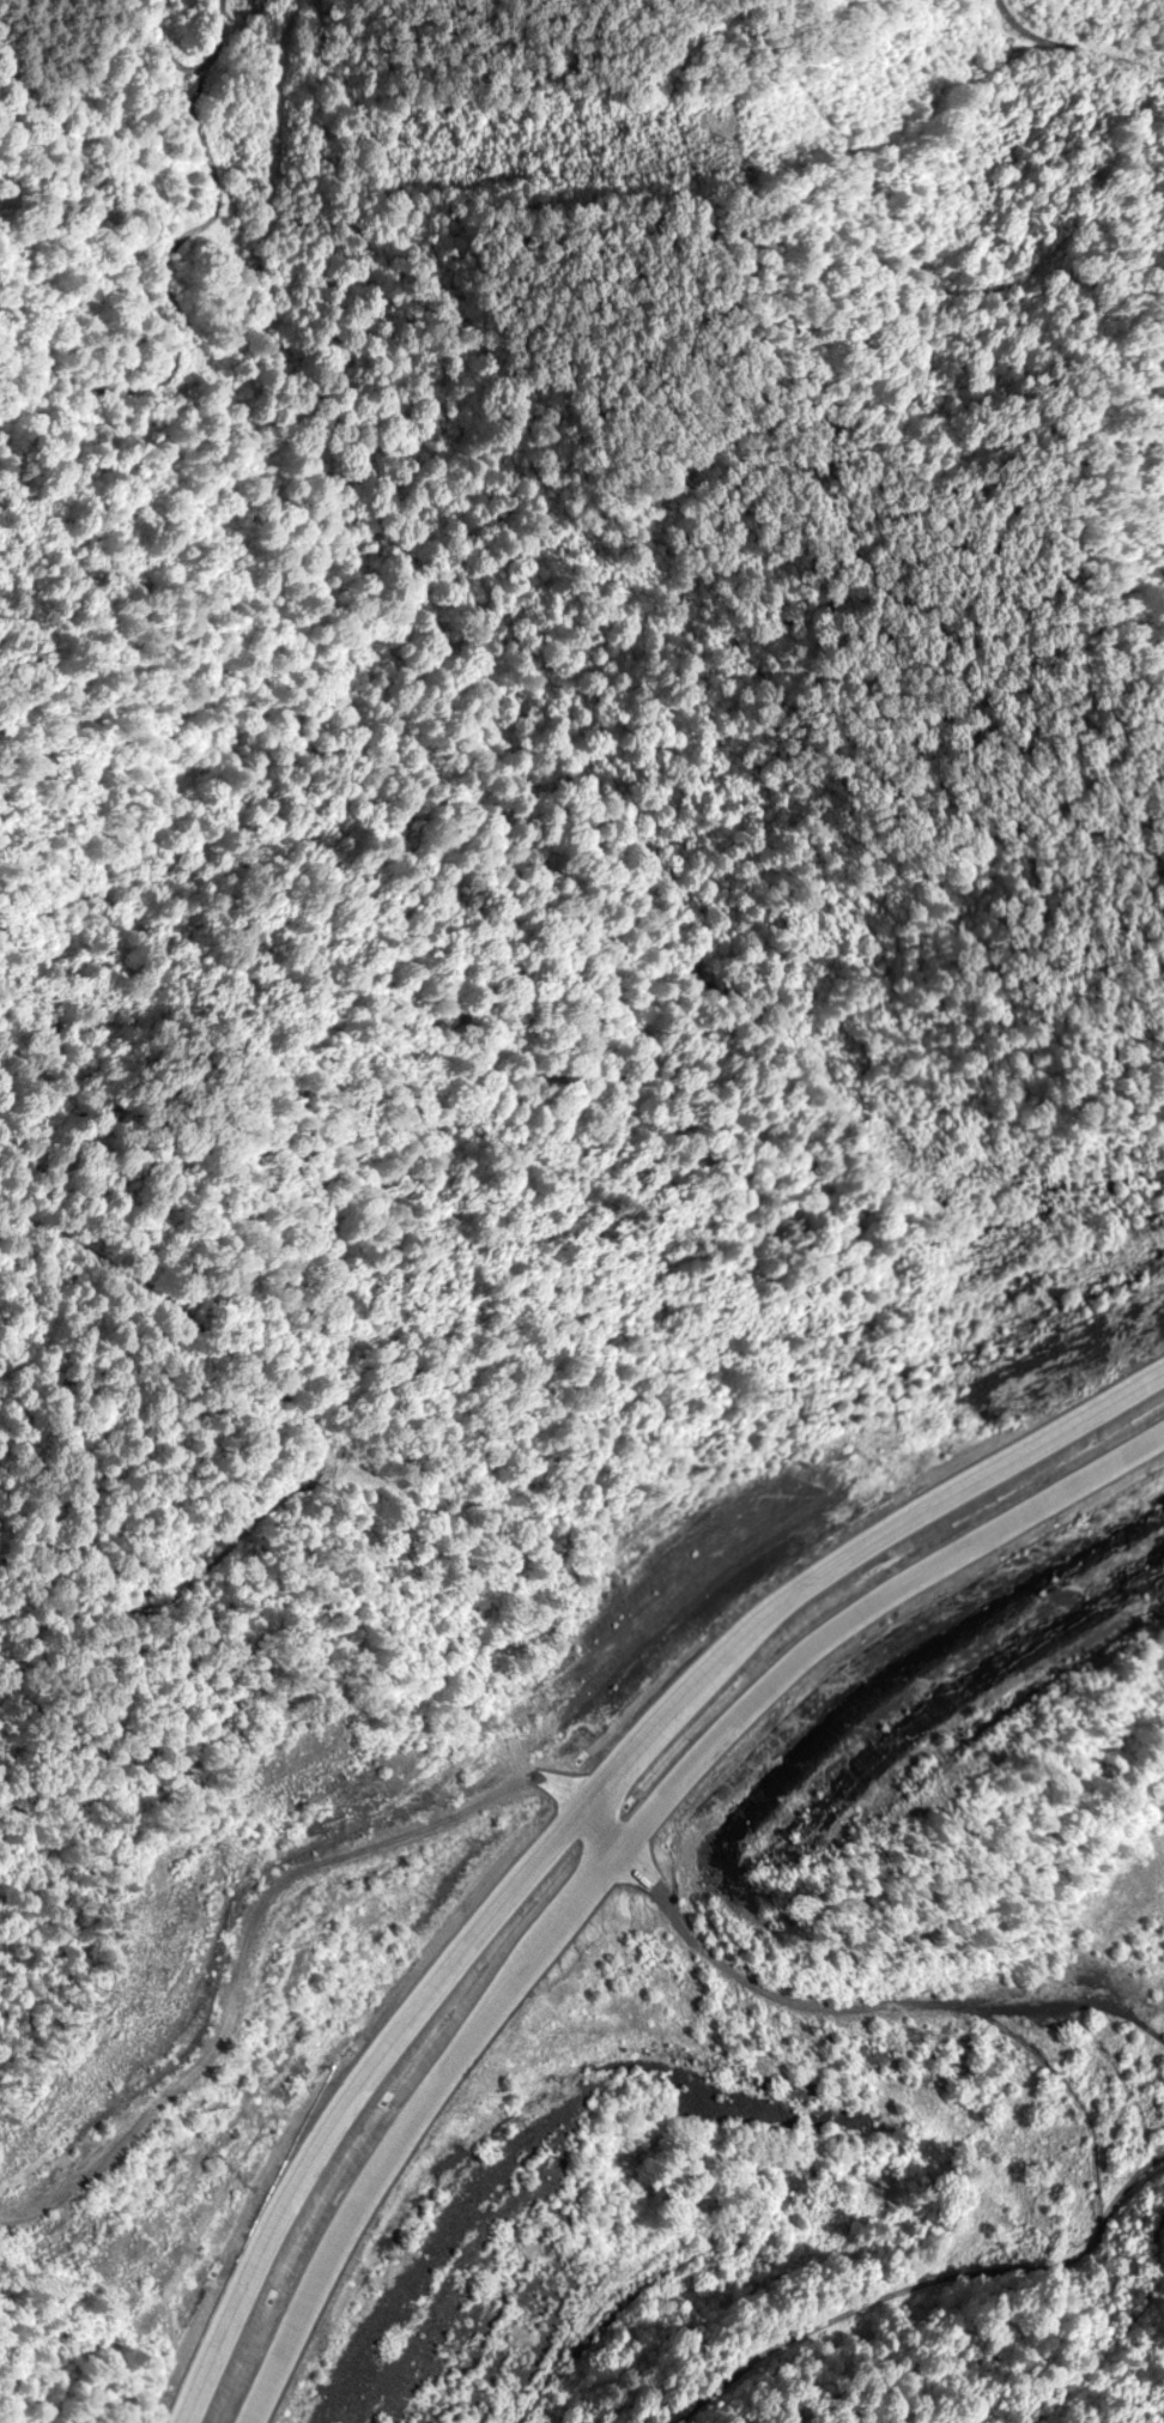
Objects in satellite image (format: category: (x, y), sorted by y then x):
road: (218, 49)
road: (1071, 54)
road: (181, 312)
road: (320, 1454)
road: (582, 1819)
road: (622, 1854)
road: (243, 1926)
quarry: (800, 2049)

